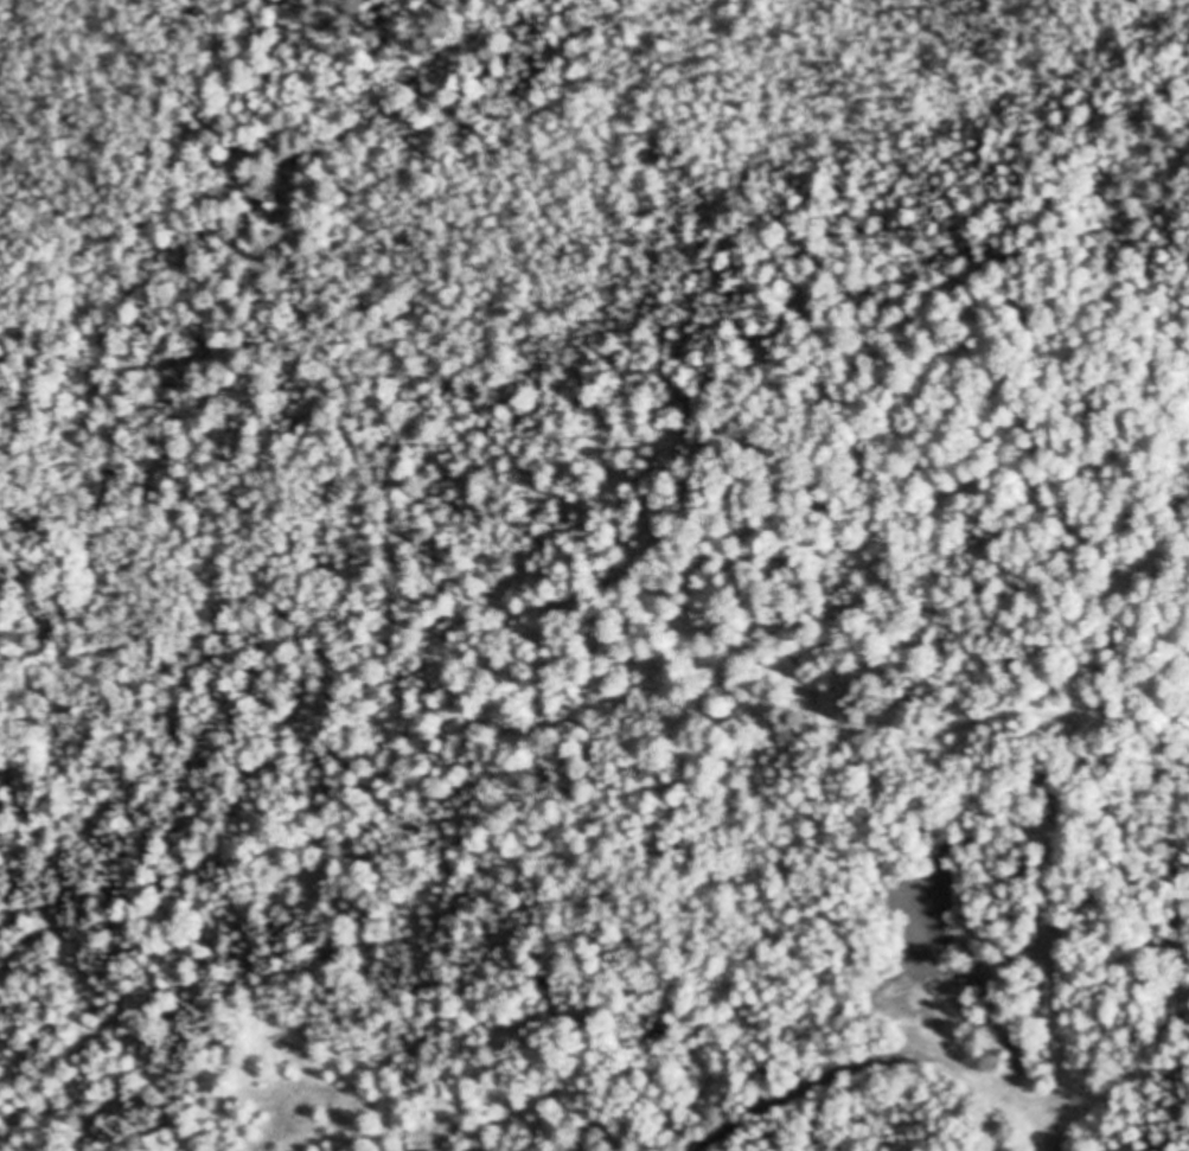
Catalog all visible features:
road: (1044, 1095)

